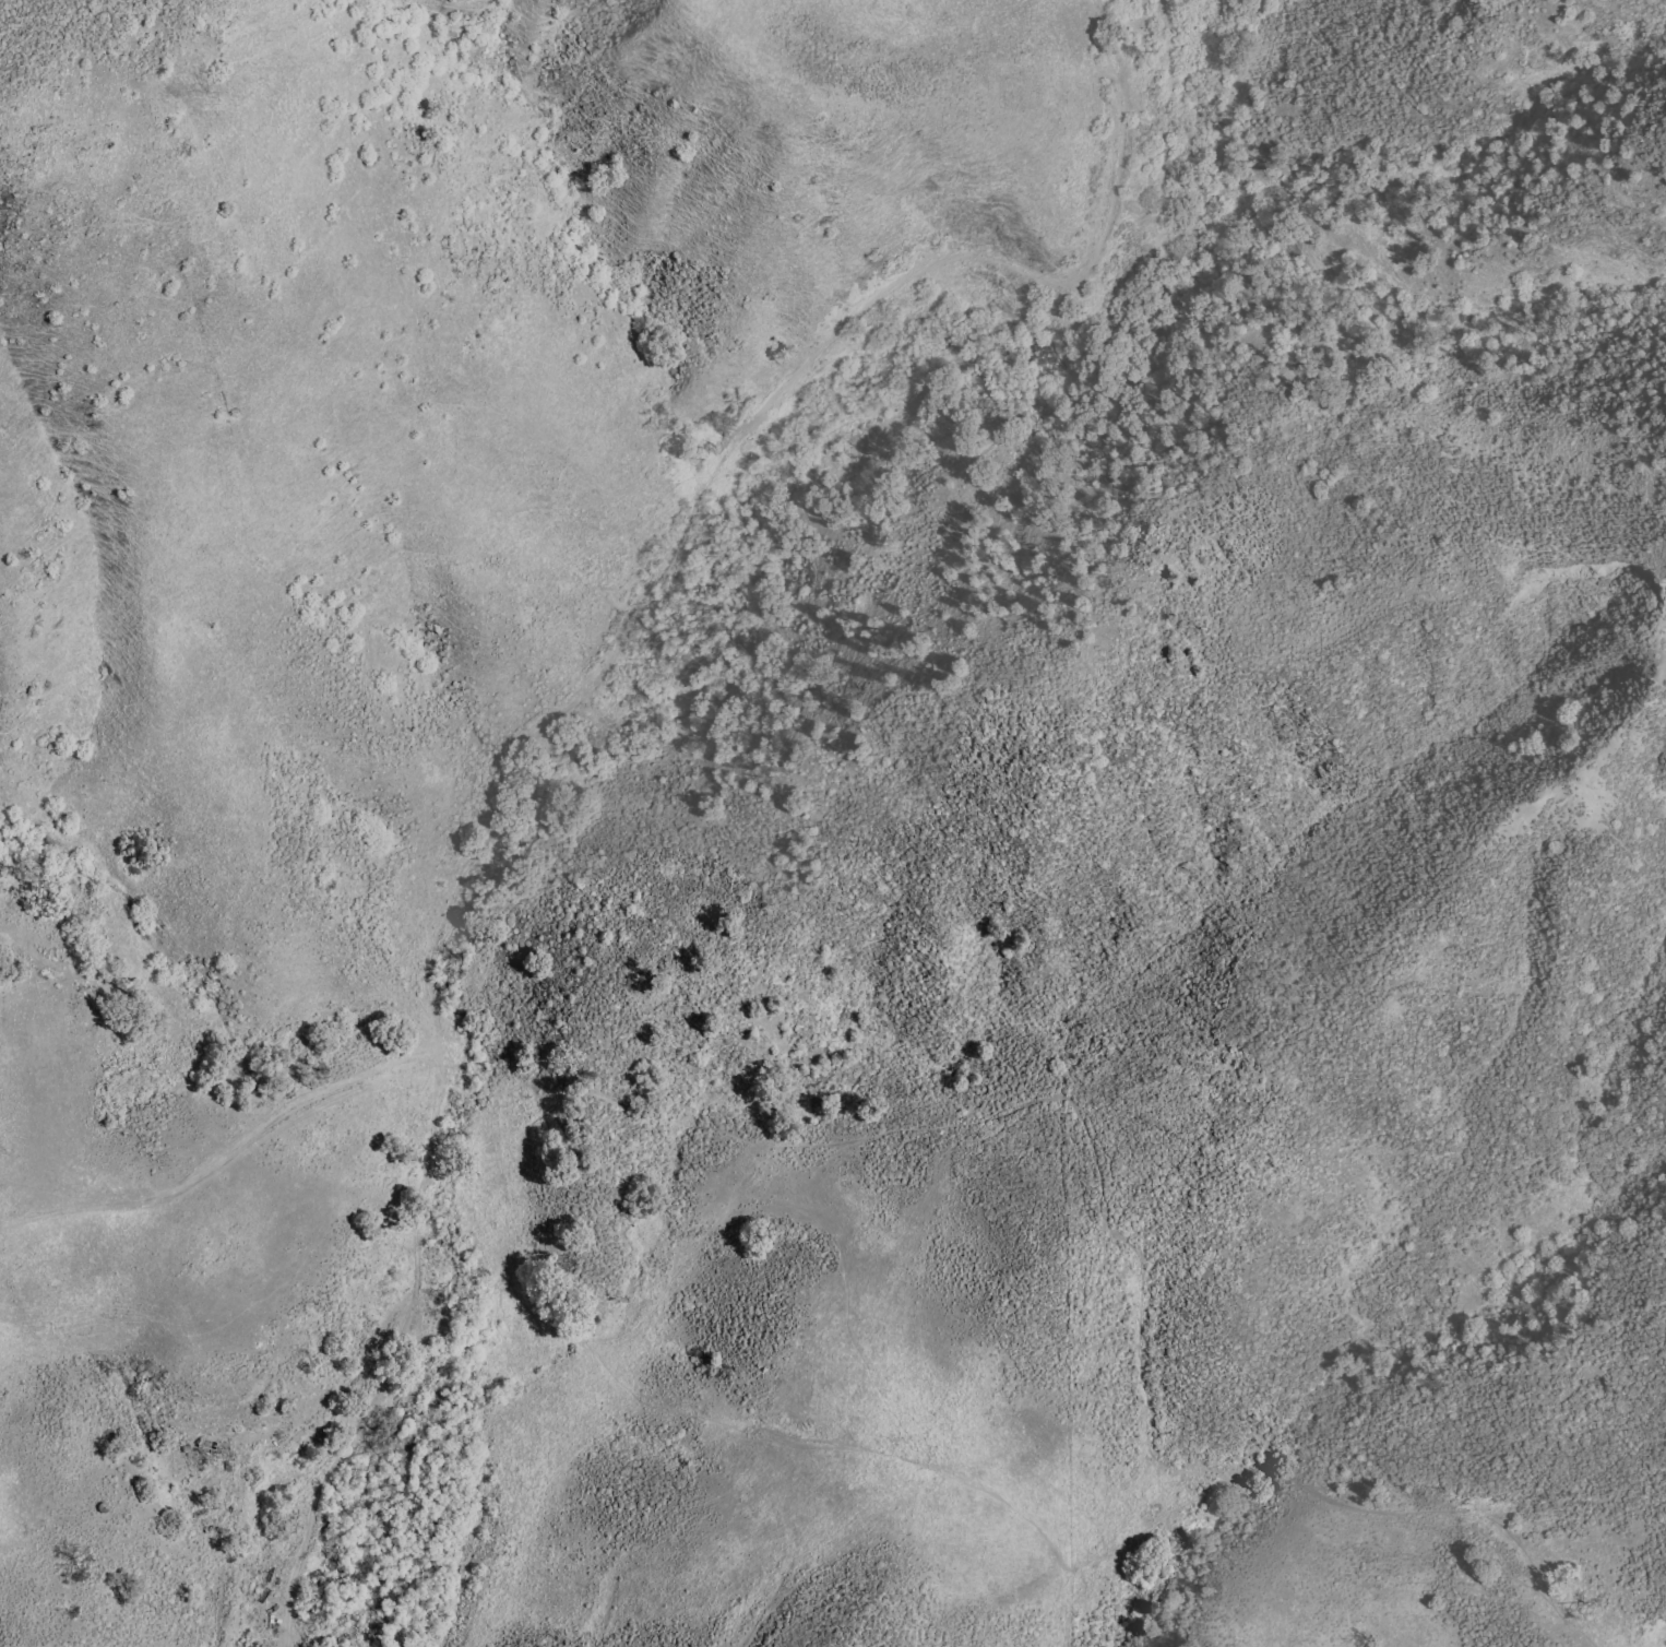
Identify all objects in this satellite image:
road: (1123, 59)
road: (517, 737)
road: (227, 1159)

